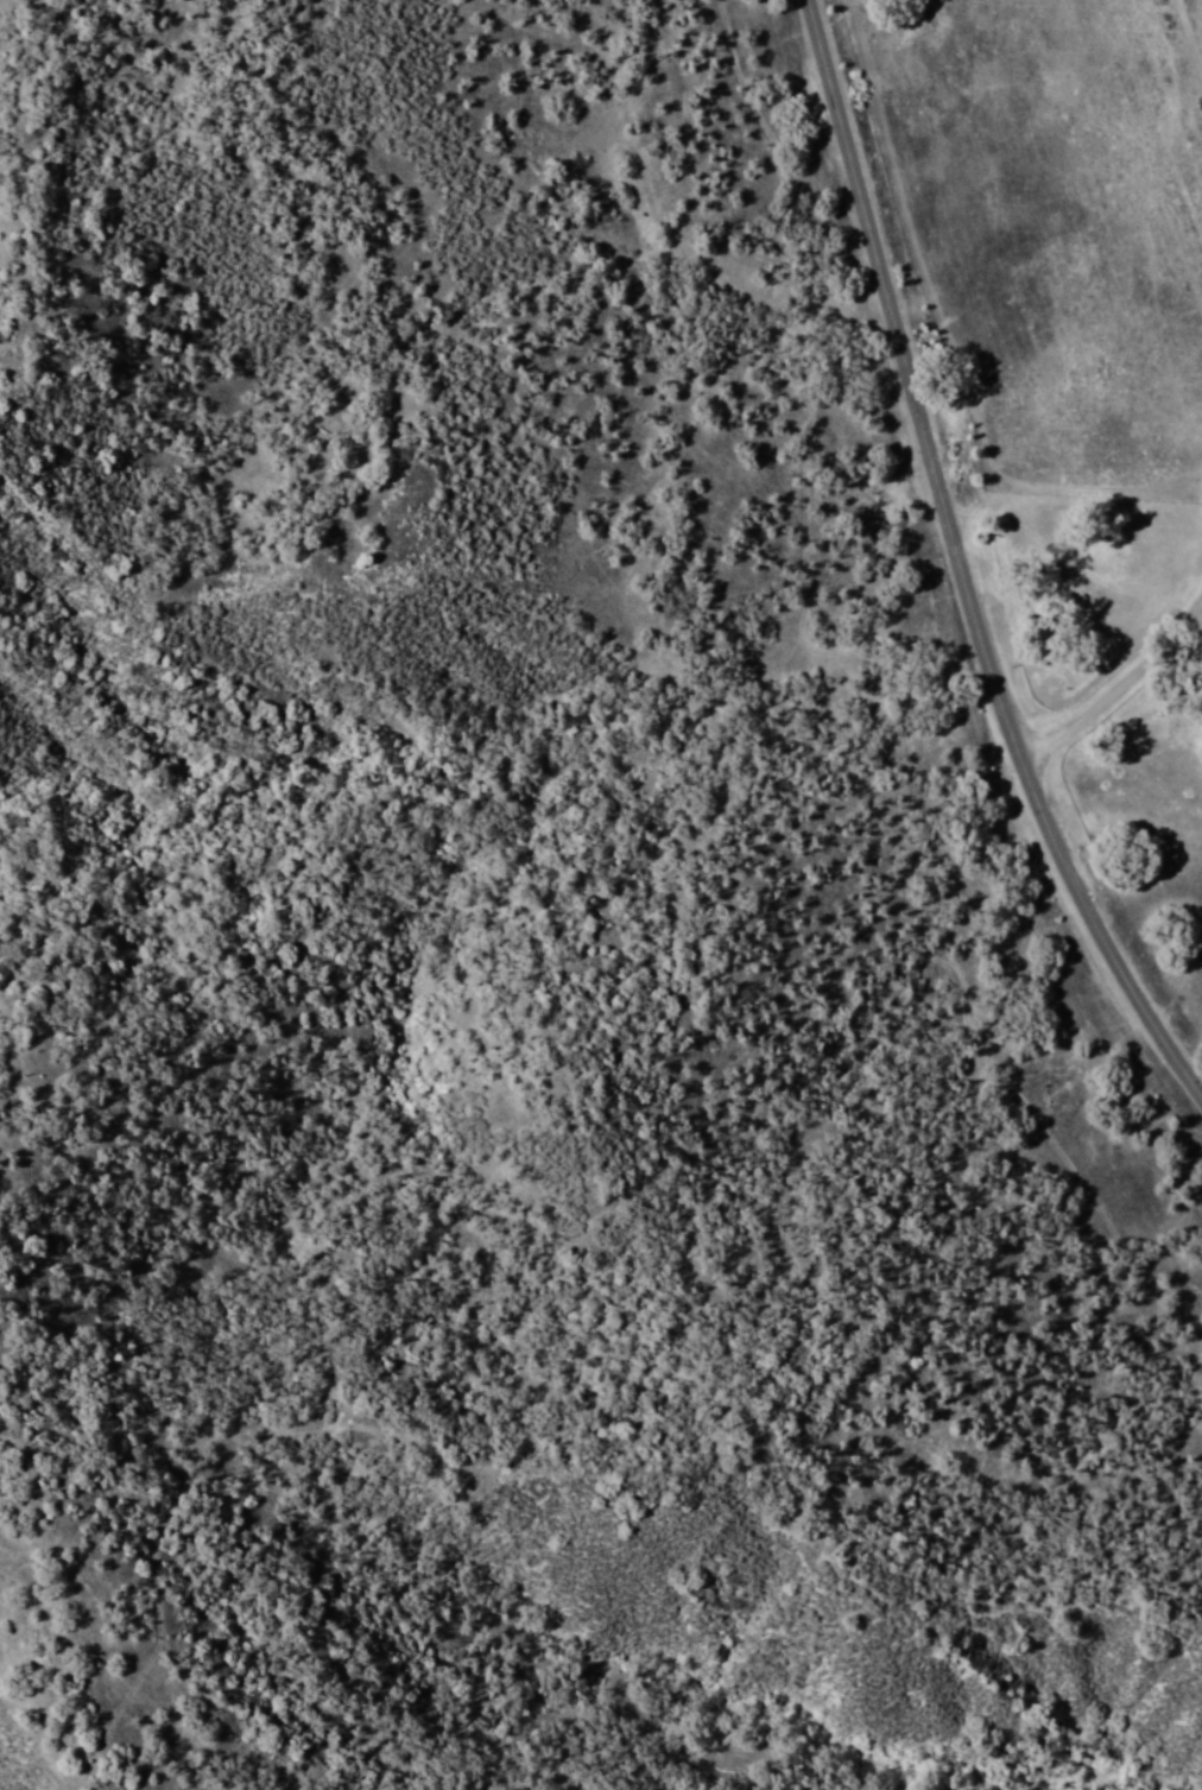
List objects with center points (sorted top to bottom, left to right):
crop: (1097, 216)
road: (964, 558)
road: (1125, 685)

